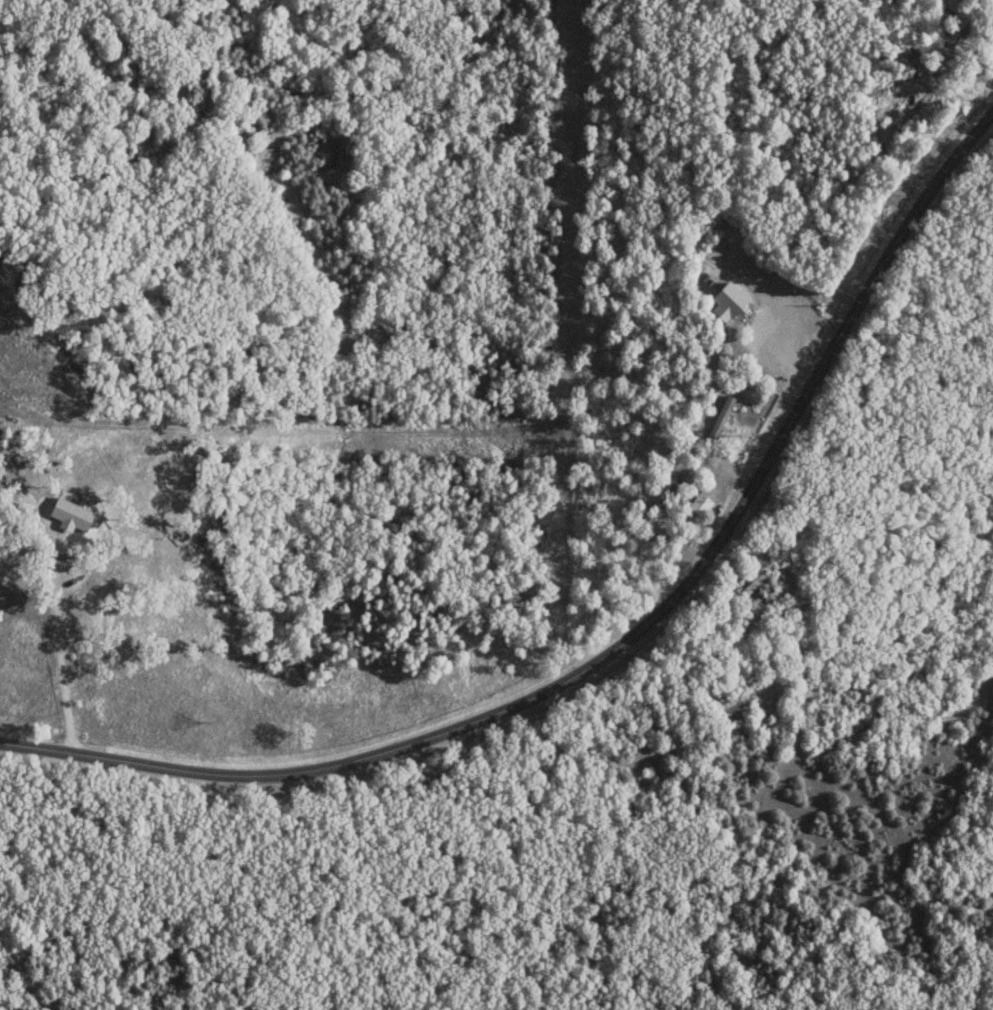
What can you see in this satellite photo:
building: (932, 13)
building: (984, 39)
building: (720, 298)
building: (716, 420)
building: (696, 505)
building: (751, 584)
building: (754, 599)
road: (621, 642)
building: (724, 710)

